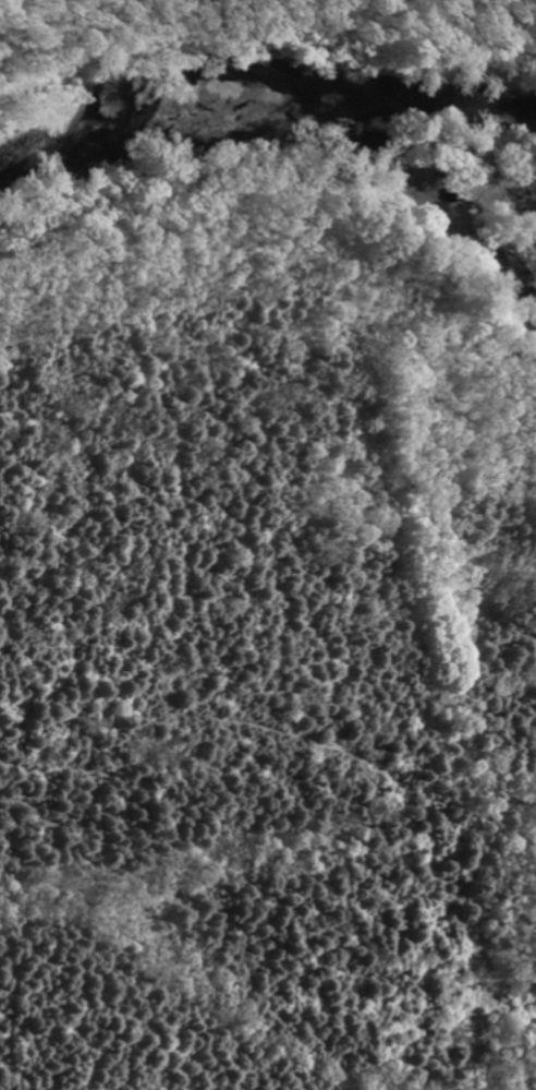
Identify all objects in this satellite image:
river: (264, 98)

